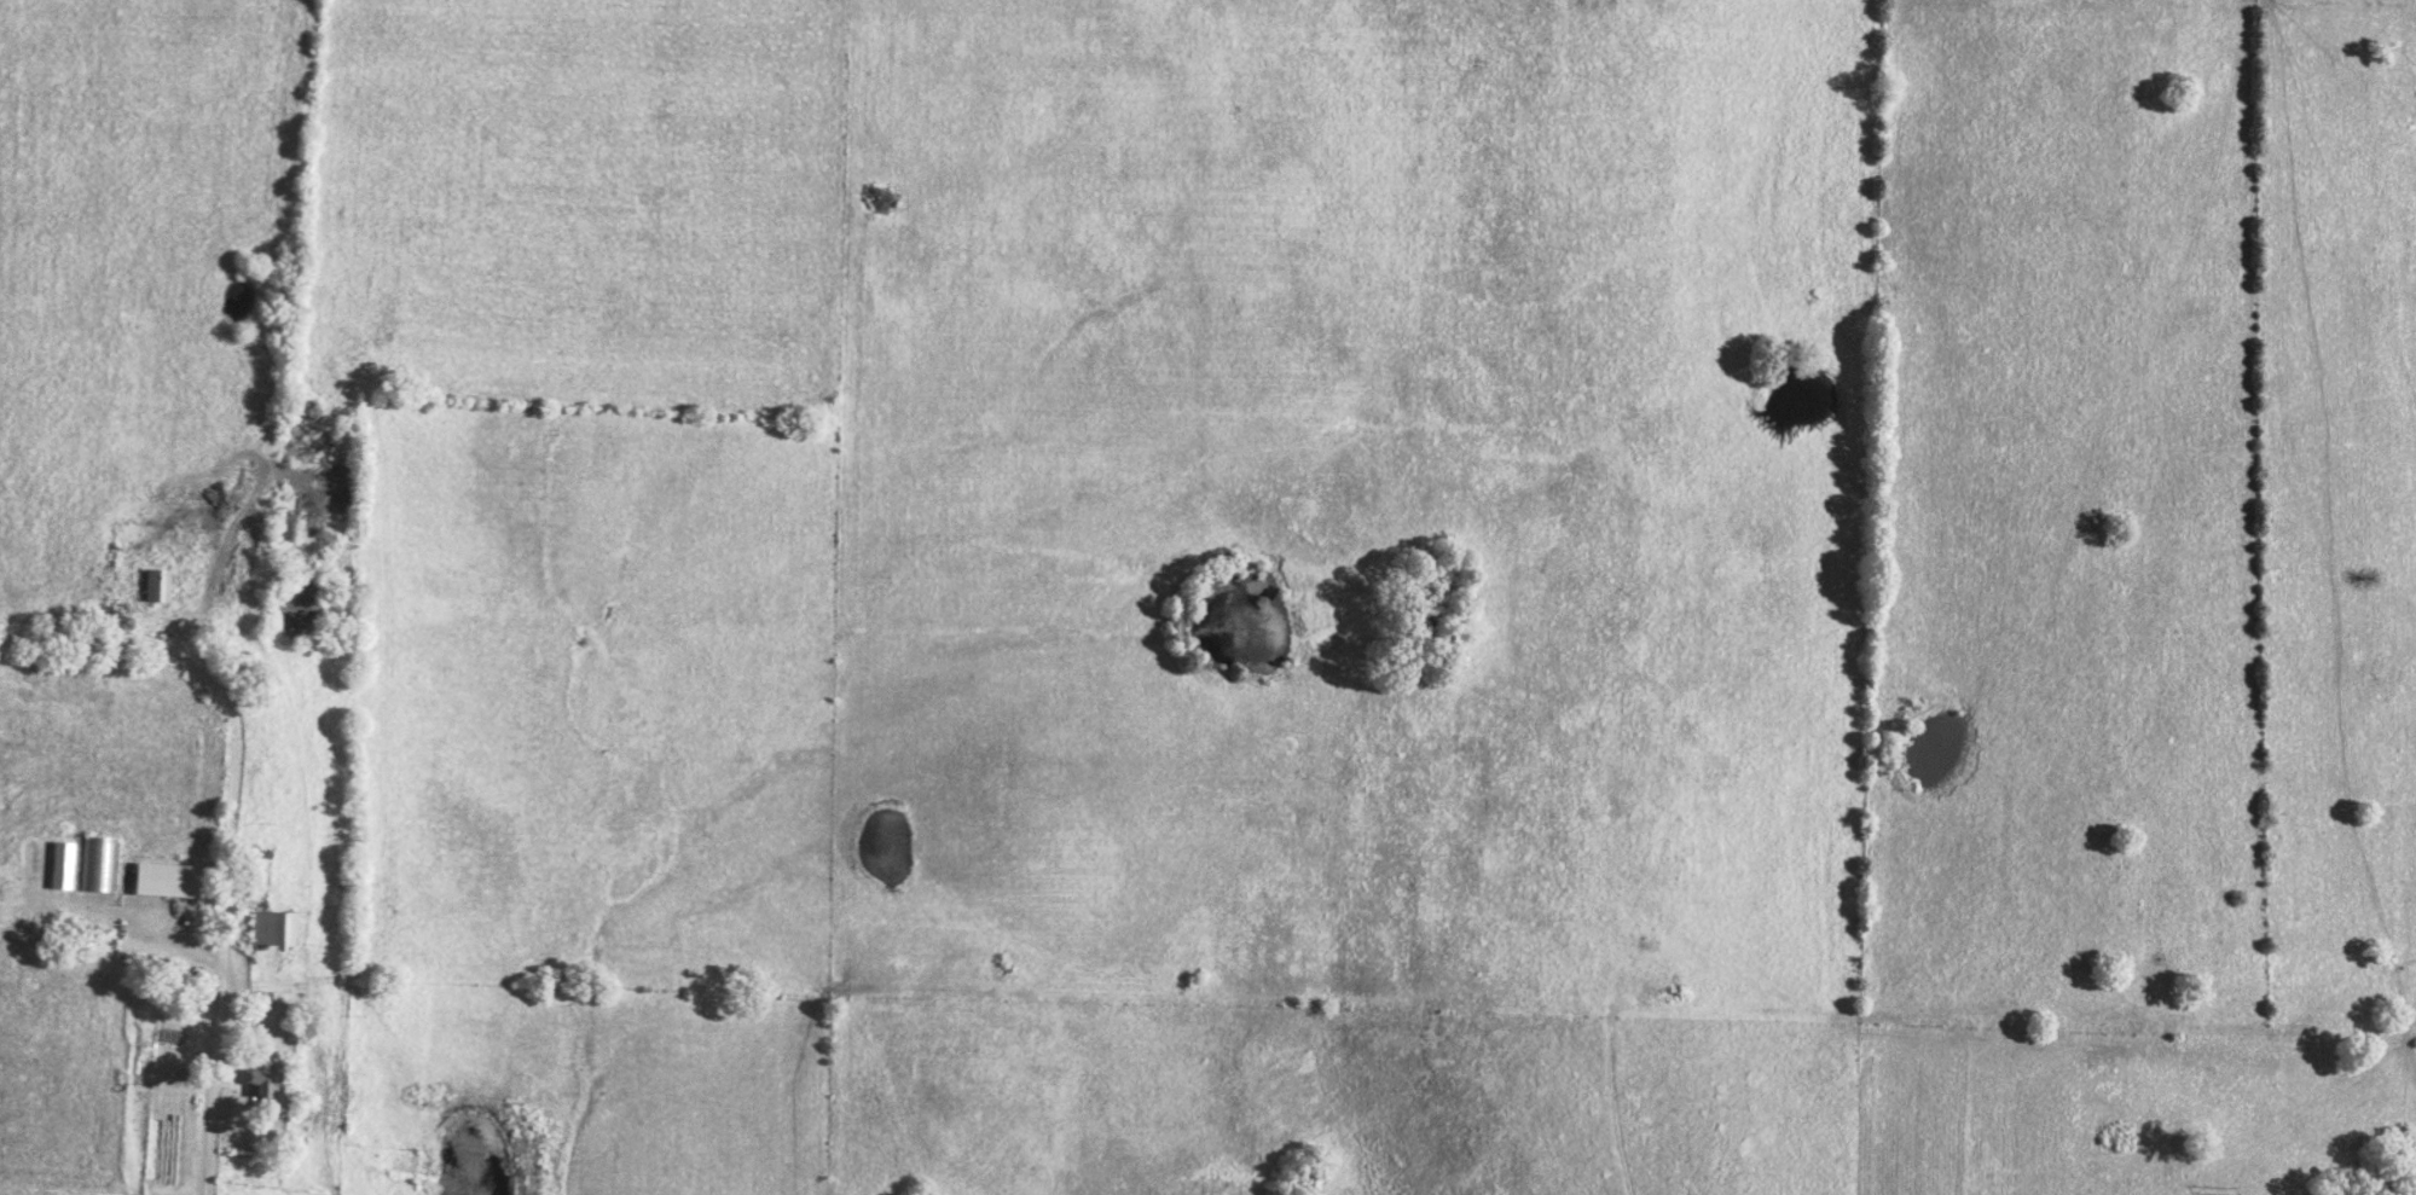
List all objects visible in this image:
building: (153, 585)
road: (234, 819)
building: (164, 880)
building: (270, 928)
building: (260, 1084)
road: (1613, 1102)

